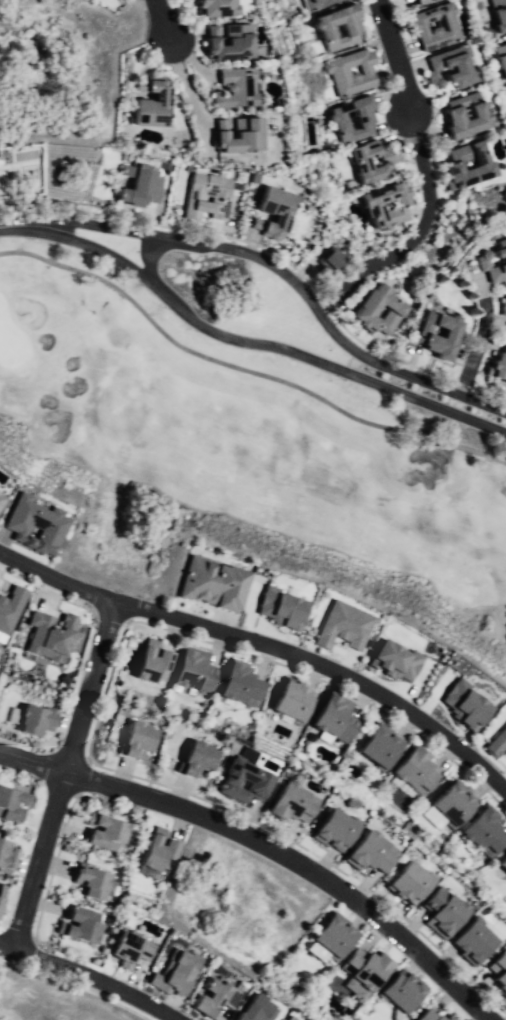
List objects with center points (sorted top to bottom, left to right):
building: (310, 1)
building: (420, 1)
building: (212, 7)
building: (497, 15)
road: (161, 18)
building: (434, 26)
building: (335, 28)
building: (227, 41)
road: (396, 57)
building: (500, 59)
building: (431, 67)
building: (349, 72)
road: (184, 81)
building: (235, 87)
building: (144, 104)
building: (451, 113)
building: (350, 118)
building: (235, 134)
building: (371, 160)
building: (465, 166)
building: (134, 186)
building: (204, 197)
building: (371, 206)
building: (270, 211)
road: (19, 225)
road: (401, 242)
road: (149, 259)
building: (326, 260)
building: (503, 262)
road: (289, 278)
park: (270, 286)
building: (503, 307)
building: (391, 313)
building: (438, 335)
road: (477, 338)
road: (263, 344)
building: (503, 347)
building: (498, 367)
road: (244, 370)
building: (1, 497)
building: (32, 523)
road: (56, 579)
building: (208, 586)
building: (280, 607)
building: (10, 608)
building: (343, 626)
building: (48, 635)
building: (395, 660)
building: (148, 668)
road: (321, 672)
building: (185, 675)
building: (234, 688)
building: (285, 702)
building: (463, 704)
building: (39, 720)
building: (327, 720)
building: (135, 742)
building: (496, 742)
building: (375, 750)
building: (246, 753)
road: (31, 760)
building: (189, 760)
building: (411, 772)
road: (59, 778)
building: (240, 782)
building: (14, 804)
building: (447, 806)
building: (281, 809)
building: (105, 832)
building: (481, 835)
building: (330, 836)
building: (156, 857)
building: (7, 858)
building: (362, 858)
road: (297, 864)
building: (501, 868)
building: (86, 882)
building: (402, 886)
building: (1, 891)
building: (2, 906)
building: (444, 917)
building: (77, 929)
building: (329, 936)
building: (127, 944)
building: (471, 944)
building: (361, 971)
building: (174, 973)
building: (501, 975)
road: (89, 977)
building: (398, 993)
building: (213, 998)
building: (255, 1009)
building: (431, 1015)
building: (287, 1019)

